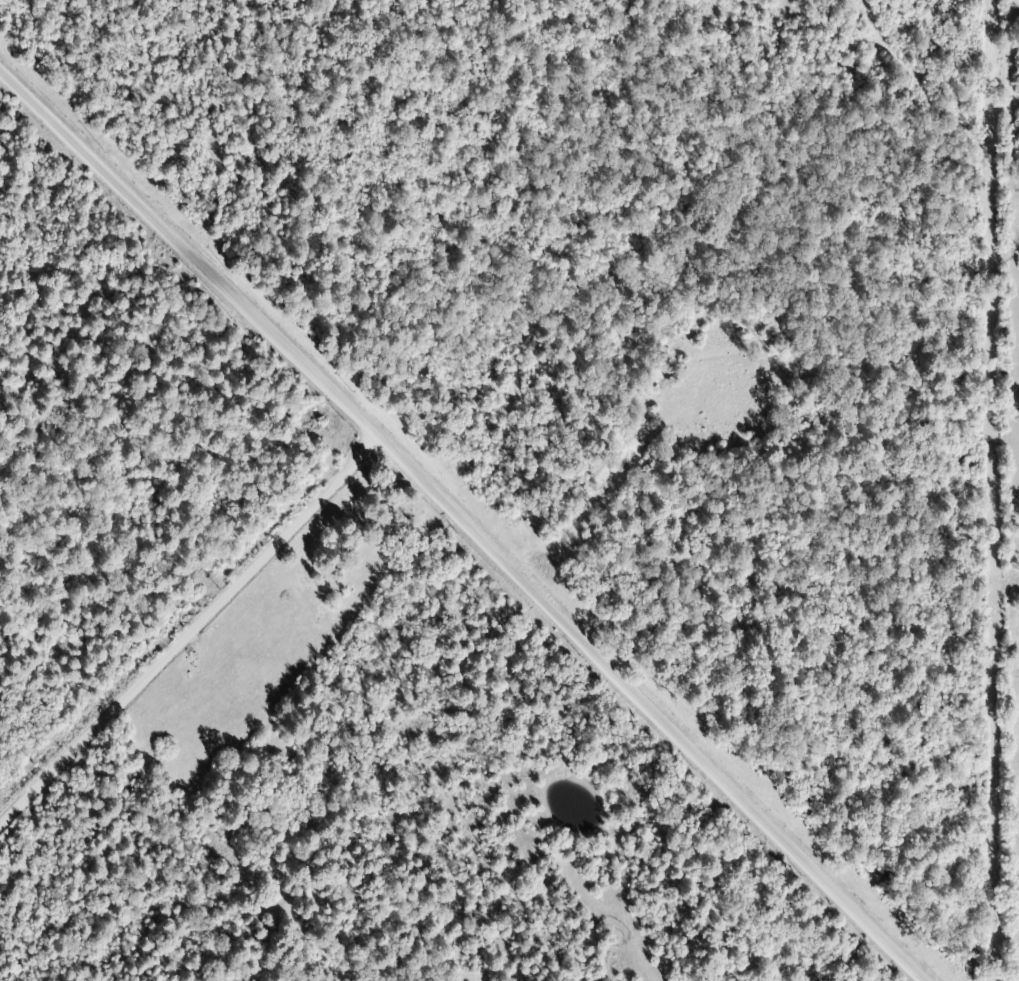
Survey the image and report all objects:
road: (194, 248)
road: (310, 517)
road: (658, 710)
road: (116, 715)

